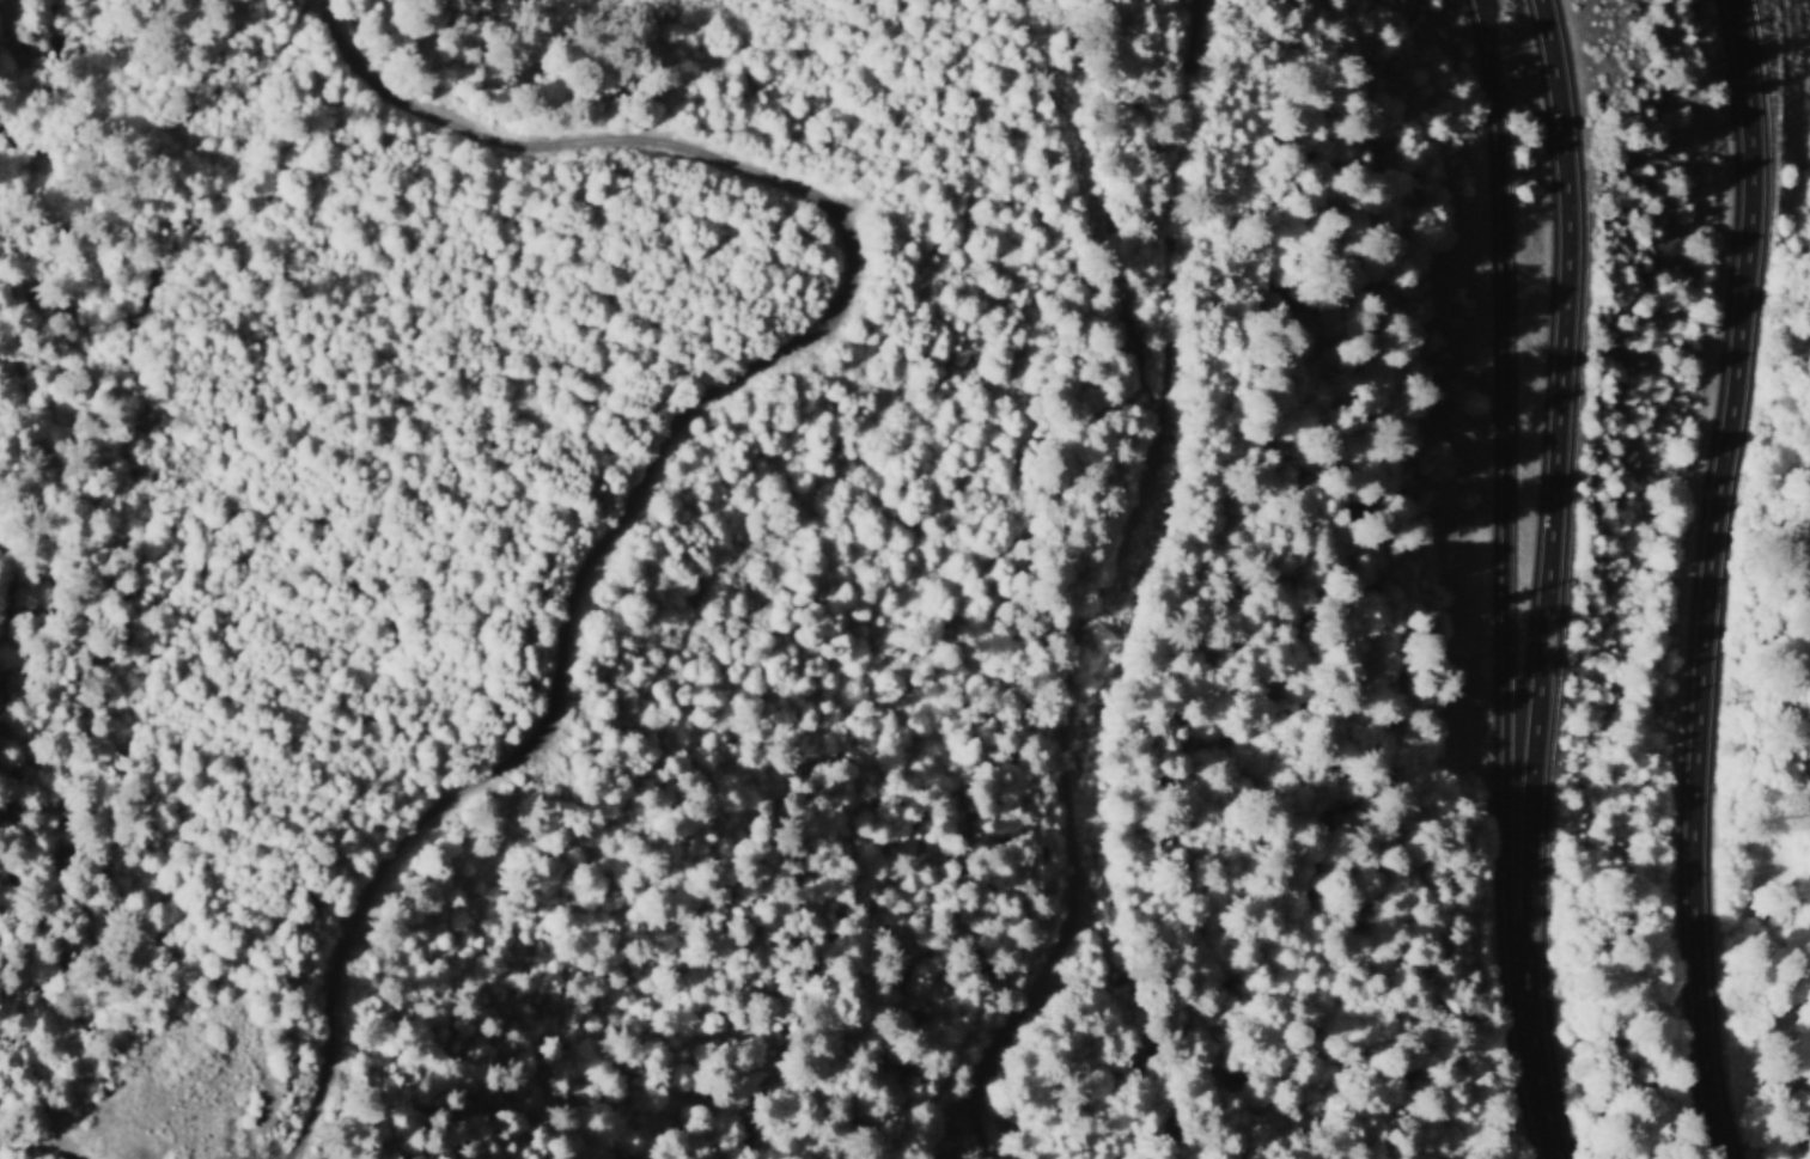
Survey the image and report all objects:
road: (632, 8)
road: (368, 14)
road: (1488, 18)
park: (1329, 447)
road: (700, 456)
road: (1515, 523)
road: (1558, 579)
road: (1719, 580)
road: (1109, 592)
road: (90, 1154)

